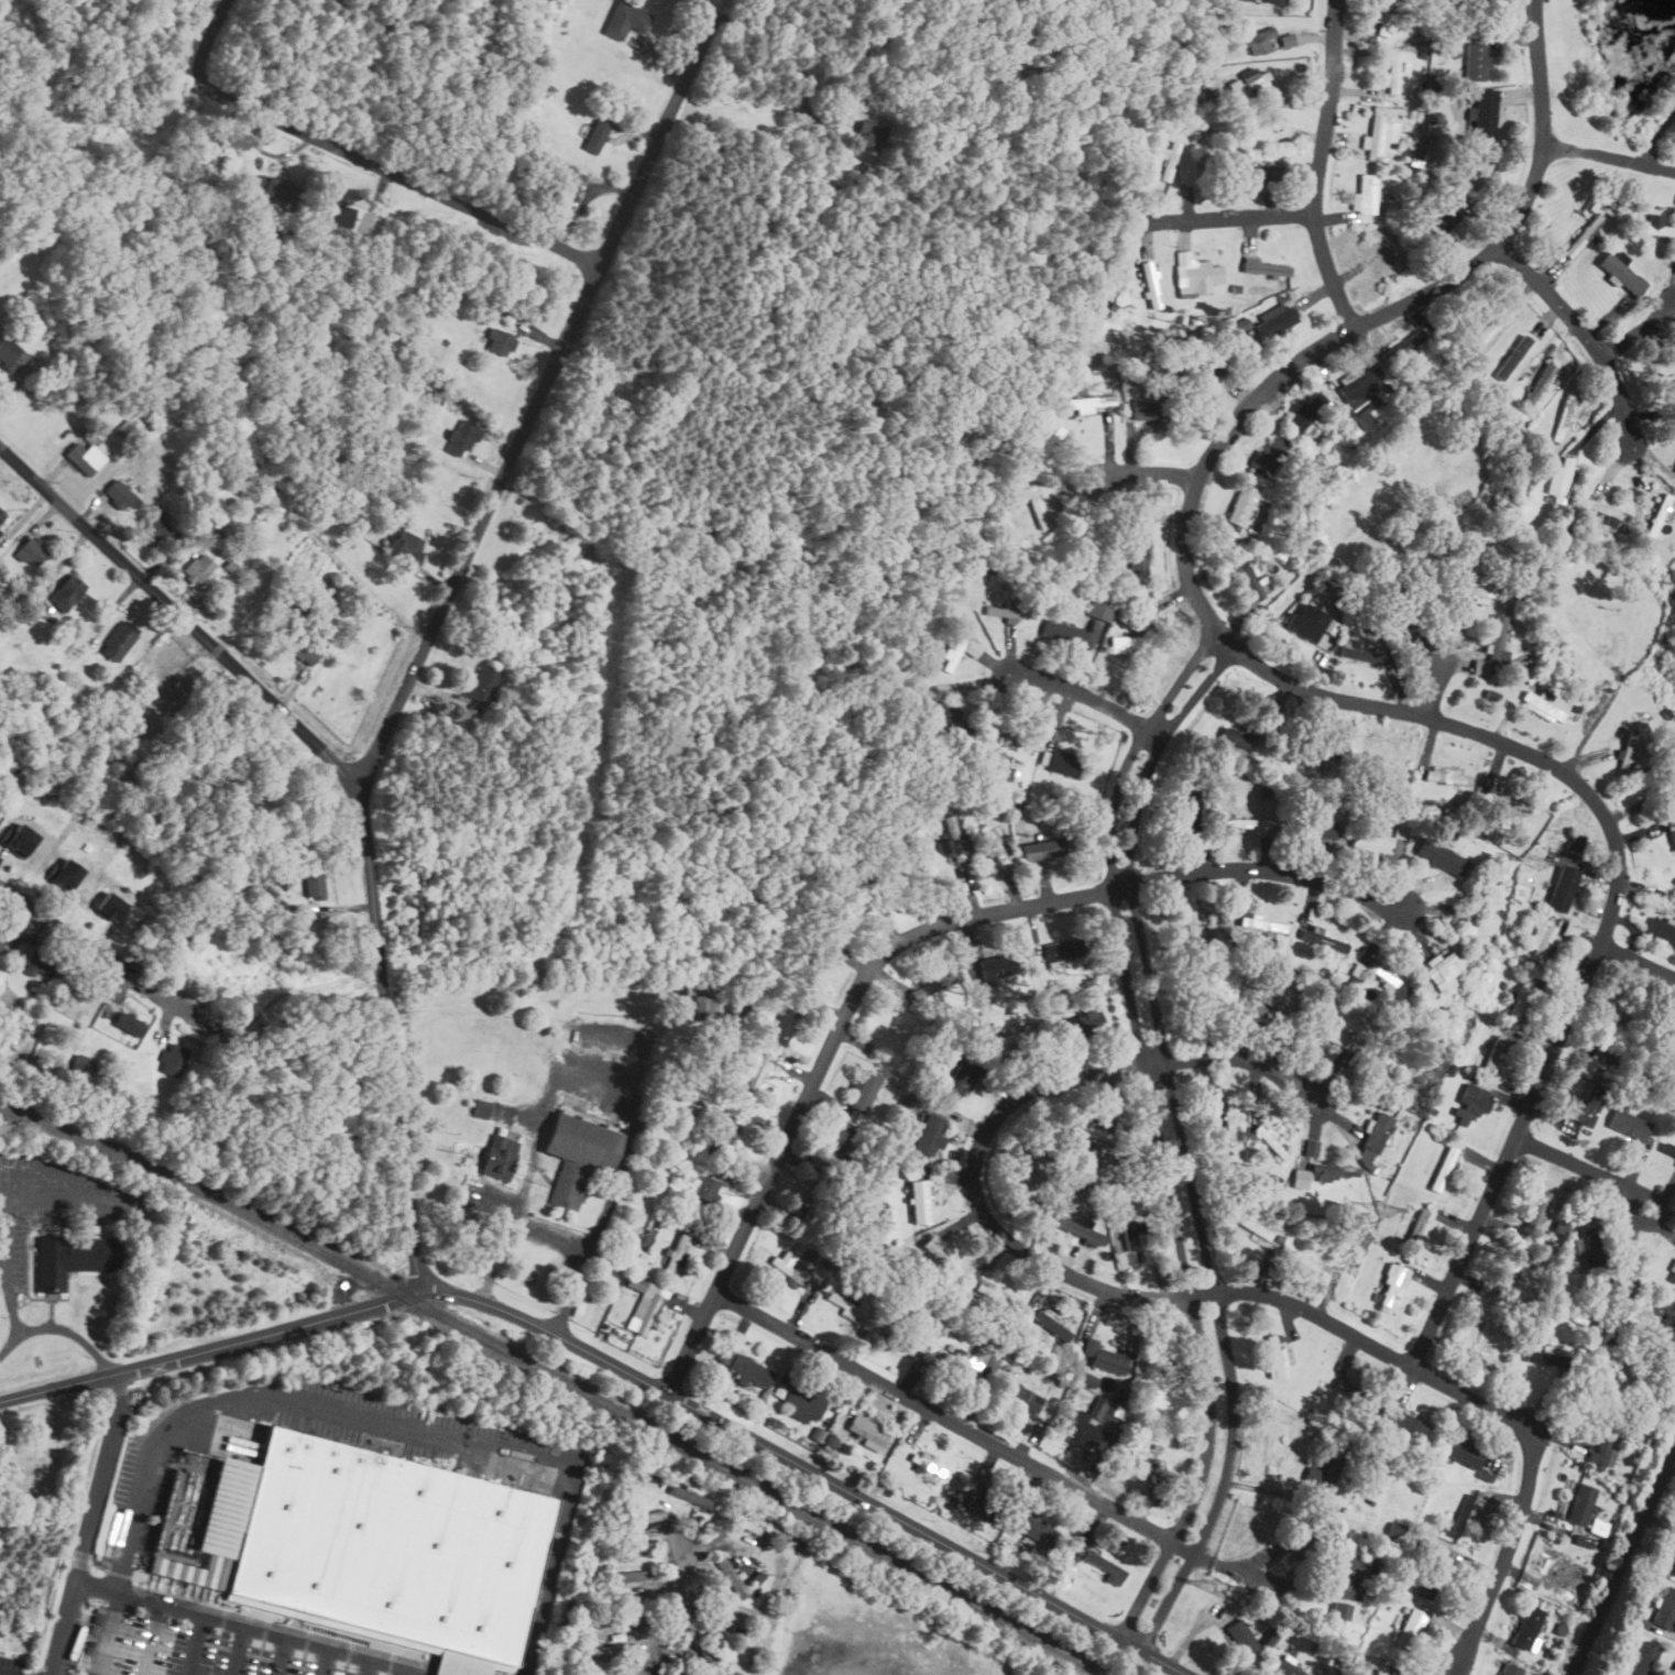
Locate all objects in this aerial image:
building: (1249, 0)
building: (1276, 1)
building: (625, 20)
building: (1253, 39)
road: (208, 40)
building: (1476, 61)
road: (658, 64)
building: (1393, 72)
building: (1248, 80)
road: (736, 106)
building: (1484, 112)
building: (1266, 127)
road: (1656, 132)
building: (868, 133)
building: (595, 135)
building: (1377, 136)
road: (1608, 157)
building: (1169, 160)
road: (1317, 167)
building: (1250, 172)
building: (1481, 174)
road: (399, 176)
building: (276, 188)
building: (566, 193)
building: (1365, 194)
building: (339, 215)
road: (1223, 218)
building: (1442, 219)
building: (1655, 226)
building: (1262, 266)
building: (1622, 273)
building: (1194, 274)
building: (1150, 284)
building: (1099, 300)
building: (1273, 319)
building: (1495, 319)
road: (1639, 330)
road: (1584, 332)
building: (1412, 341)
building: (501, 343)
building: (10, 354)
building: (1513, 358)
building: (1208, 365)
building: (1543, 383)
building: (1358, 384)
building: (610, 390)
road: (539, 397)
building: (1086, 403)
building: (1148, 410)
building: (1305, 412)
building: (1563, 419)
building: (129, 428)
building: (459, 438)
building: (1051, 442)
building: (1268, 456)
building: (84, 458)
road: (1152, 472)
building: (1561, 480)
building: (121, 496)
building: (1033, 504)
building: (1240, 505)
building: (1603, 507)
building: (1, 515)
building: (1658, 515)
building: (157, 526)
building: (405, 546)
building: (1137, 549)
building: (31, 551)
building: (198, 569)
building: (1255, 580)
building: (66, 592)
building: (1477, 592)
building: (1007, 610)
building: (1099, 610)
building: (1311, 623)
building: (1062, 634)
building: (118, 642)
building: (1498, 642)
building: (1130, 645)
building: (302, 647)
building: (960, 650)
building: (1360, 652)
building: (1481, 666)
building: (482, 685)
road: (1434, 693)
road: (1313, 694)
building: (172, 696)
building: (927, 696)
road: (1085, 696)
building: (1543, 705)
building: (951, 719)
building: (1237, 737)
building: (1009, 748)
building: (1630, 749)
building: (1063, 763)
building: (1447, 776)
road: (355, 797)
building: (1506, 800)
building: (1191, 813)
building: (1249, 824)
building: (1321, 829)
building: (1401, 829)
building: (1673, 833)
building: (882, 835)
building: (950, 839)
building: (21, 840)
building: (1372, 842)
building: (993, 845)
building: (1041, 849)
building: (1443, 857)
power tower: (1536, 862)
building: (68, 874)
building: (315, 882)
building: (1564, 888)
building: (1673, 888)
building: (841, 899)
building: (111, 907)
building: (1262, 924)
building: (1197, 929)
building: (1662, 930)
building: (2, 934)
building: (1539, 939)
road: (902, 940)
building: (1328, 940)
building: (1064, 949)
building: (39, 962)
building: (808, 962)
road: (1636, 962)
road: (111, 963)
building: (996, 966)
building: (1443, 972)
building: (1387, 979)
building: (934, 985)
building: (1083, 995)
building: (1520, 1000)
building: (704, 1006)
building: (1268, 1012)
building: (130, 1023)
building: (1081, 1023)
building: (784, 1026)
building: (890, 1030)
building: (1327, 1030)
building: (1015, 1037)
building: (1674, 1052)
building: (1493, 1053)
building: (173, 1060)
building: (1585, 1069)
building: (756, 1077)
building: (960, 1077)
road: (605, 1083)
building: (867, 1091)
building: (1467, 1103)
building: (1589, 1104)
building: (482, 1108)
building: (1228, 1125)
building: (1630, 1125)
building: (507, 1132)
building: (1093, 1132)
building: (931, 1134)
building: (722, 1138)
road: (1170, 1138)
building: (1373, 1138)
building: (1269, 1141)
building: (846, 1149)
building: (1668, 1149)
building: (577, 1154)
building: (1421, 1154)
building: (499, 1156)
building: (1028, 1167)
building: (1444, 1168)
road: (1584, 1169)
building: (1335, 1171)
building: (1301, 1178)
building: (703, 1194)
building: (919, 1201)
power tower: (1386, 1209)
building: (1537, 1209)
building: (1251, 1225)
building: (1420, 1227)
building: (1080, 1229)
road: (548, 1236)
building: (1589, 1246)
building: (675, 1253)
building: (72, 1258)
building: (942, 1259)
building: (788, 1267)
building: (1514, 1270)
building: (1673, 1270)
building: (1622, 1282)
building: (1392, 1287)
road: (1163, 1299)
building: (643, 1304)
building: (849, 1306)
building: (1053, 1324)
road: (58, 1328)
building: (1487, 1337)
building: (1107, 1357)
building: (1274, 1357)
building: (1547, 1359)
building: (966, 1360)
road: (614, 1367)
building: (749, 1370)
building: (1619, 1375)
building: (1088, 1379)
railway: (558, 1380)
building: (1344, 1387)
building: (1023, 1397)
building: (803, 1400)
road: (390, 1414)
road: (948, 1420)
building: (1406, 1425)
building: (1080, 1428)
building: (865, 1431)
building: (1602, 1446)
building: (1460, 1450)
park: (40, 1459)
building: (1139, 1463)
building: (929, 1465)
building: (1322, 1474)
road: (100, 1477)
building: (692, 1496)
building: (981, 1500)
building: (1580, 1503)
building: (1465, 1508)
building: (653, 1518)
building: (1033, 1531)
building: (365, 1537)
building: (1103, 1565)
building: (1674, 1570)
building: (1347, 1574)
building: (631, 1577)
building: (733, 1577)
building: (1435, 1578)
power tower: (1218, 1587)
building: (627, 1605)
road: (670, 1608)
building: (1665, 1609)
building: (1340, 1610)
road: (244, 1625)
building: (1526, 1627)
road: (64, 1628)
building: (1410, 1628)
road: (107, 1633)
building: (1240, 1636)
road: (152, 1639)
road: (194, 1644)
building: (699, 1646)
road: (236, 1650)
building: (601, 1651)
road: (280, 1656)
building: (1643, 1658)
road: (325, 1662)
road: (369, 1667)
building: (1290, 1667)
building: (1378, 1669)
building: (1510, 1669)
road: (410, 1674)

